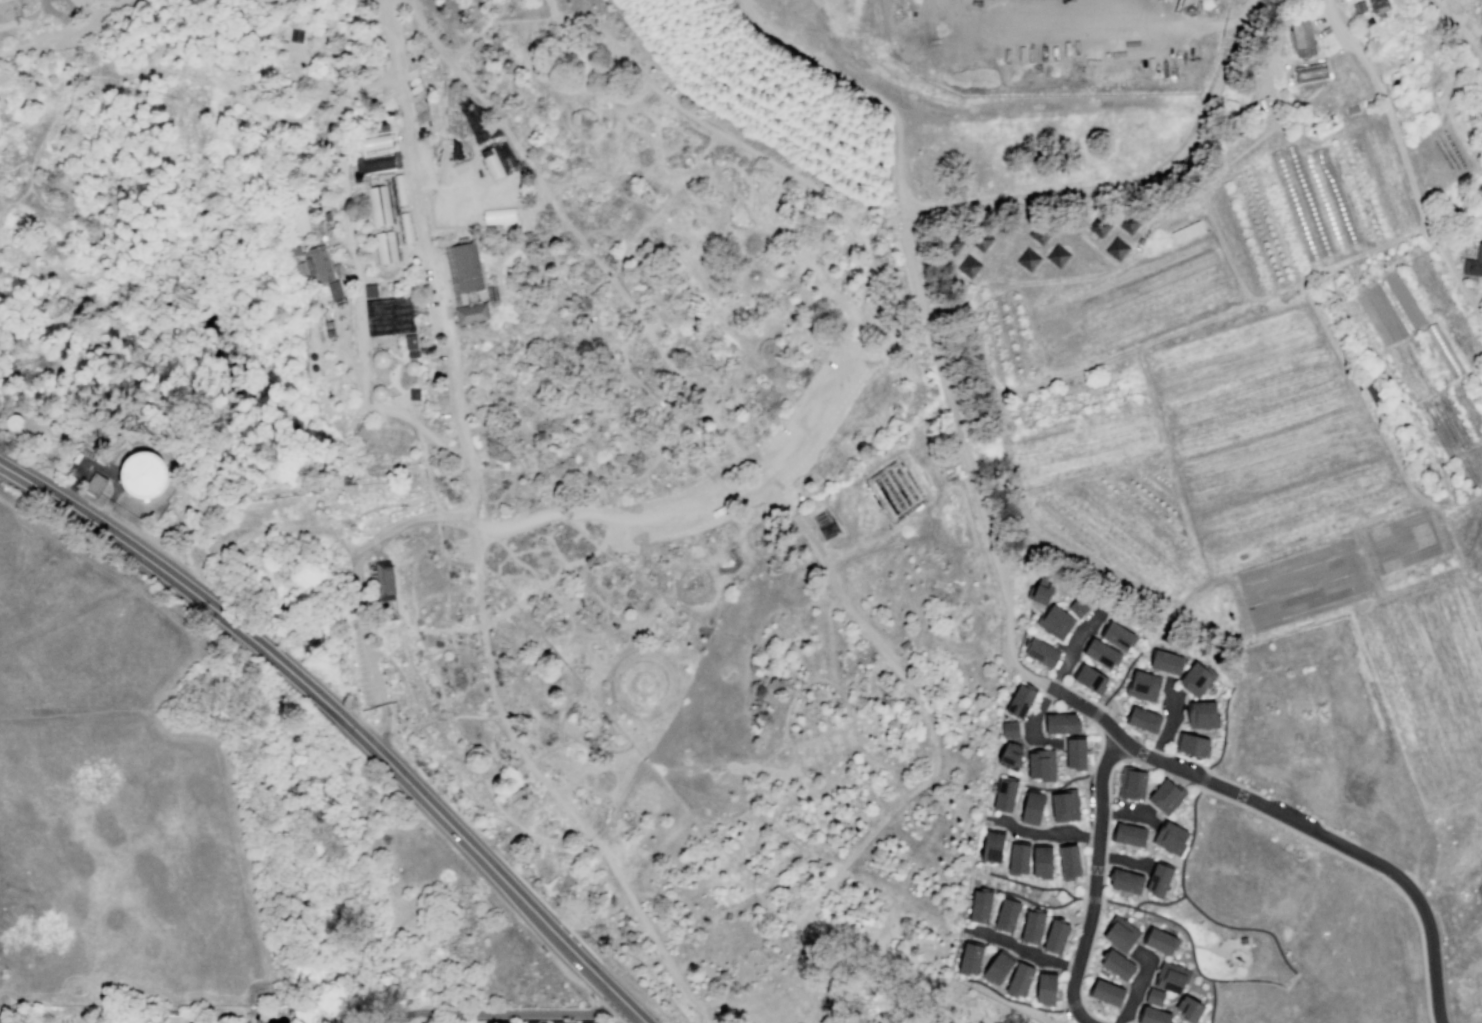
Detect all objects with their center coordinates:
road: (282, 1)
road: (386, 2)
building: (1378, 5)
building: (1358, 7)
road: (551, 8)
building: (993, 12)
road: (65, 15)
road: (59, 16)
road: (69, 16)
road: (26, 17)
road: (100, 20)
building: (1365, 22)
road: (1129, 23)
road: (1459, 29)
building: (295, 36)
building: (1300, 38)
road: (33, 43)
road: (1335, 49)
building: (1310, 72)
road: (861, 89)
road: (1265, 90)
road: (1304, 100)
building: (1351, 110)
road: (690, 113)
road: (49, 125)
building: (375, 141)
road: (1236, 159)
road: (1403, 159)
building: (379, 163)
building: (399, 190)
building: (1315, 201)
building: (379, 205)
building: (498, 215)
building: (1450, 215)
building: (299, 217)
building: (1128, 222)
building: (1099, 225)
building: (1198, 226)
building: (405, 227)
building: (1192, 229)
building: (1186, 232)
building: (1039, 233)
building: (1180, 234)
building: (1174, 237)
road: (904, 239)
building: (981, 239)
road: (1050, 242)
road: (1221, 243)
building: (951, 244)
building: (385, 247)
building: (1116, 248)
building: (1057, 255)
building: (1027, 259)
building: (1473, 262)
building: (321, 264)
building: (465, 265)
building: (968, 267)
road: (30, 269)
road: (1074, 273)
building: (335, 290)
building: (371, 291)
parking lot: (442, 310)
building: (471, 313)
building: (389, 316)
building: (410, 342)
road: (361, 343)
building: (381, 360)
road: (1086, 366)
building: (411, 369)
building: (1479, 369)
crop: (1269, 375)
road: (612, 393)
building: (1373, 393)
building: (378, 394)
dam: (218, 411)
road: (458, 414)
water tower: (13, 422)
road: (1386, 441)
road: (423, 443)
parking lot: (791, 446)
road: (49, 450)
road: (749, 468)
building: (142, 474)
water tower: (143, 475)
road: (117, 479)
road: (744, 480)
building: (99, 483)
road: (1461, 502)
road: (277, 528)
crop: (1406, 540)
road: (478, 545)
parking lot: (463, 549)
road: (417, 555)
road: (519, 562)
road: (1205, 566)
road: (507, 575)
building: (384, 580)
road: (464, 586)
building: (1041, 590)
road: (414, 606)
road: (512, 606)
building: (1077, 607)
road: (444, 615)
building: (1054, 622)
road: (704, 624)
road: (534, 627)
building: (1118, 636)
road: (203, 640)
road: (1137, 647)
building: (1041, 652)
building: (1101, 653)
road: (1145, 653)
road: (1016, 655)
parking lot: (369, 657)
road: (530, 658)
building: (1166, 662)
building: (1088, 678)
building: (1196, 678)
road: (418, 679)
road: (1120, 680)
road: (1223, 682)
building: (1142, 685)
road: (1050, 688)
road: (1080, 694)
road: (841, 695)
road: (1114, 700)
building: (1019, 701)
road: (518, 702)
road: (1088, 709)
road: (336, 712)
road: (1095, 713)
road: (562, 714)
building: (1201, 714)
building: (1143, 719)
road: (453, 720)
road: (545, 720)
building: (1061, 723)
road: (1167, 727)
road: (840, 729)
building: (1009, 729)
road: (1223, 730)
road: (803, 739)
road: (843, 739)
road: (1100, 744)
building: (1191, 744)
road: (846, 748)
road: (1114, 748)
road: (810, 751)
building: (1075, 753)
building: (1010, 756)
building: (1041, 764)
road: (476, 765)
road: (1205, 769)
road: (1023, 775)
road: (1194, 776)
road: (835, 777)
road: (1204, 779)
building: (1130, 782)
road: (1234, 784)
road: (1044, 785)
road: (1108, 786)
road: (1054, 787)
building: (1004, 794)
building: (1166, 796)
building: (1064, 805)
building: (1031, 808)
road: (568, 809)
parking lot: (1294, 809)
road: (1130, 812)
road: (1335, 832)
road: (1039, 834)
building: (1128, 834)
road: (784, 837)
building: (1170, 837)
building: (991, 847)
building: (1017, 858)
road: (1121, 859)
building: (1041, 861)
building: (1068, 862)
road: (739, 872)
building: (1158, 878)
building: (1124, 880)
road: (1031, 885)
road: (1092, 899)
road: (1027, 900)
road: (1158, 902)
building: (980, 905)
road: (1413, 911)
building: (1006, 914)
building: (1032, 925)
building: (1120, 933)
building: (1055, 936)
building: (1159, 940)
building: (1242, 940)
road: (591, 949)
road: (1214, 949)
road: (1023, 950)
building: (969, 959)
building: (1116, 964)
road: (1290, 967)
building: (997, 968)
building: (1171, 977)
building: (1018, 980)
road: (927, 984)
building: (1045, 987)
road: (1136, 987)
building: (1105, 992)
building: (1153, 996)
road: (595, 998)
road: (1011, 999)
road: (1212, 1001)
road: (1172, 1002)
road: (1073, 1003)
road: (930, 1005)
road: (224, 1008)
road: (607, 1008)
building: (1188, 1009)
road: (523, 1012)
road: (977, 1012)
road: (405, 1015)
building: (1152, 1015)
road: (637, 1017)
road: (619, 1020)
road: (396, 1022)
building: (490, 1022)
building: (531, 1022)
building: (559, 1022)
road: (1185, 1022)

